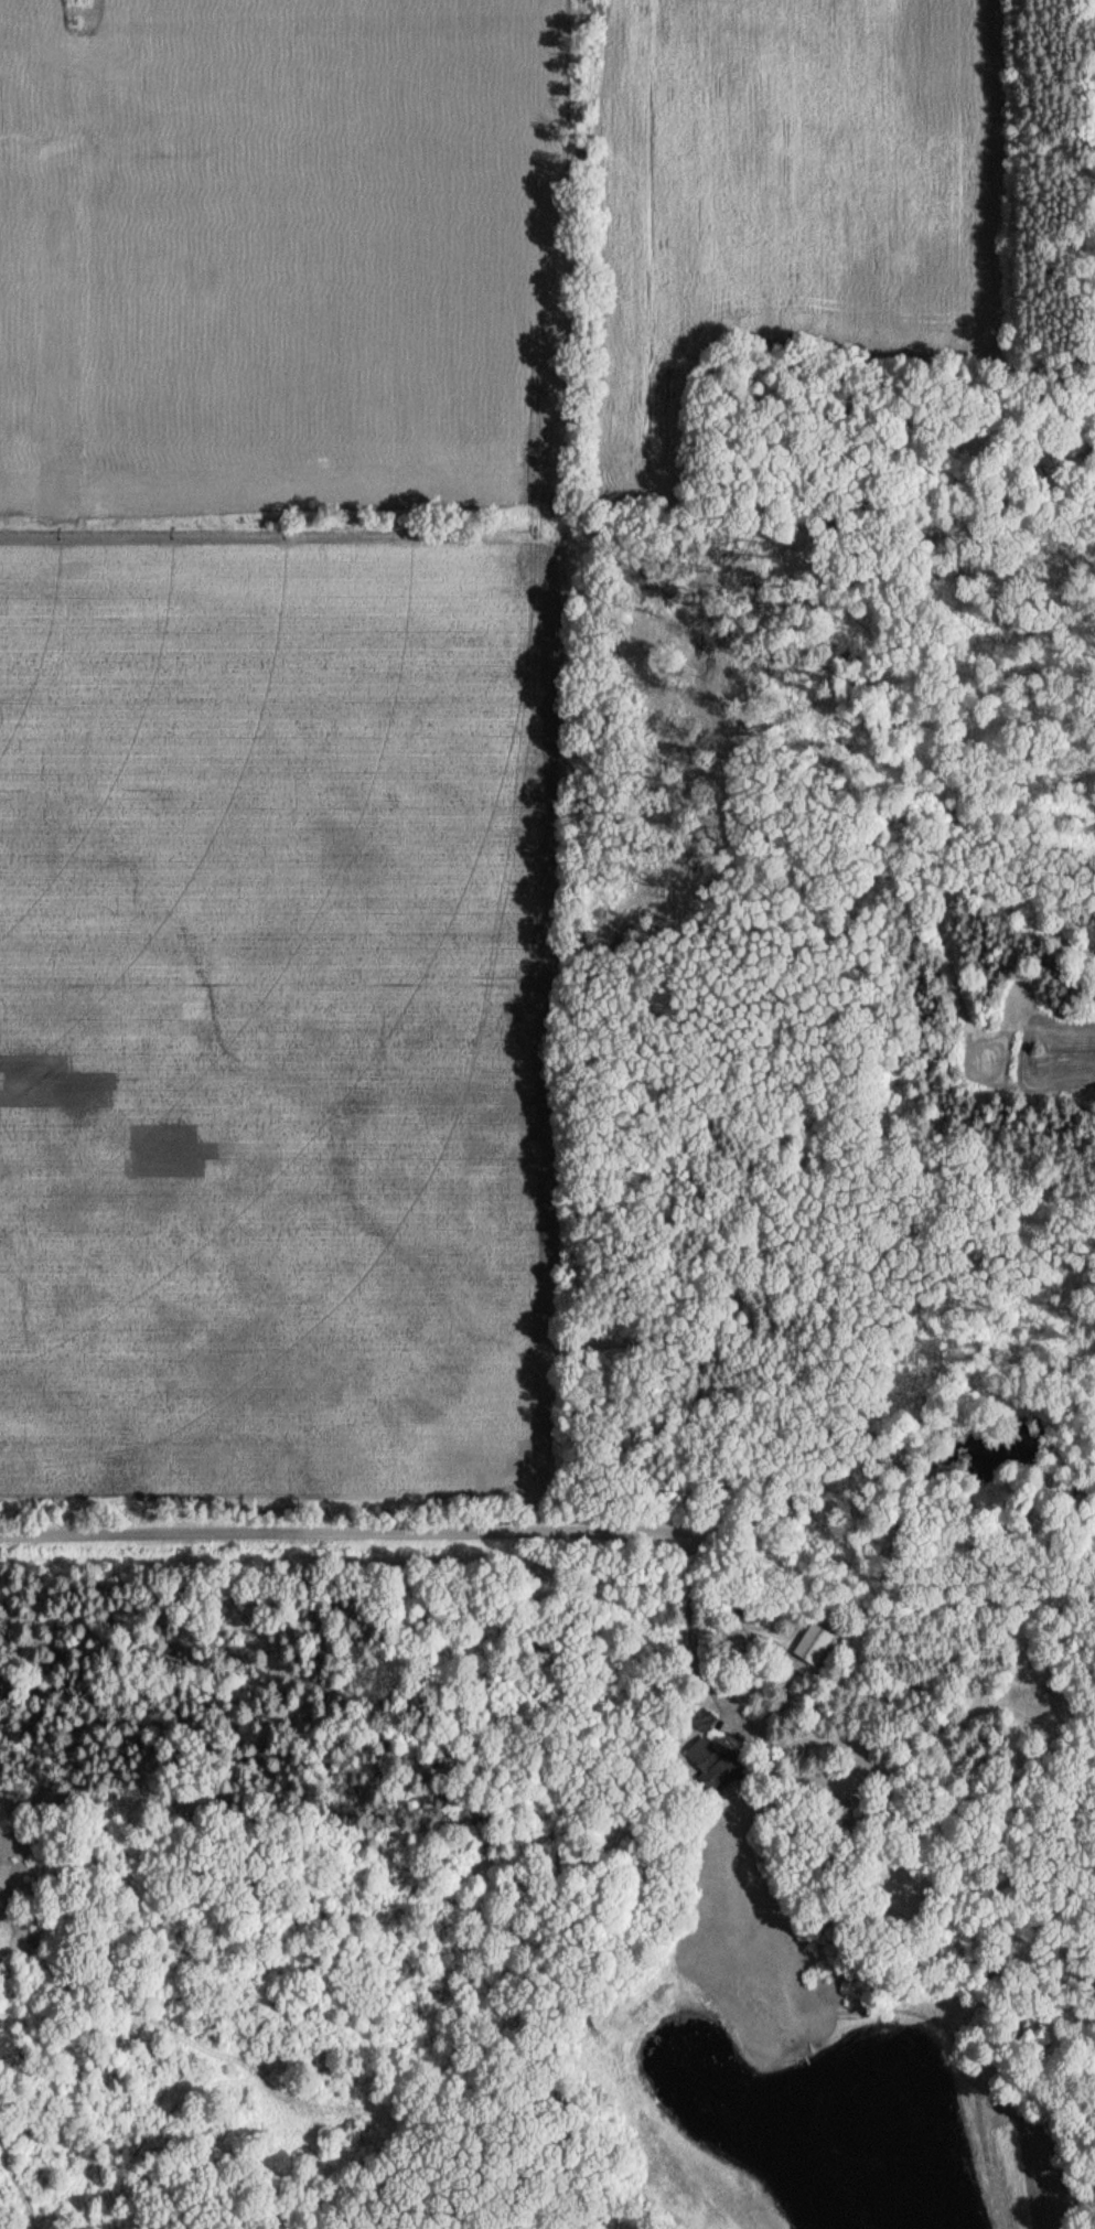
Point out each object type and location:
road: (547, 1517)
building: (741, 1614)
road: (688, 1627)
building: (812, 1646)
building: (698, 1719)
building: (708, 1764)

